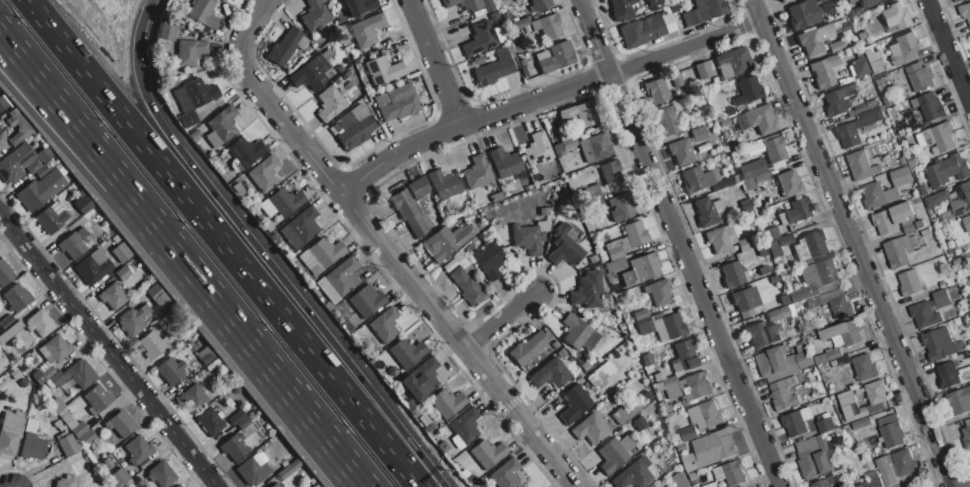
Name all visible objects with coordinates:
building: (513, 0)
building: (514, 0)
building: (957, 0)
building: (783, 1)
building: (821, 1)
building: (655, 2)
building: (836, 2)
building: (870, 3)
building: (464, 4)
building: (539, 5)
building: (359, 6)
building: (827, 8)
building: (622, 9)
building: (710, 9)
building: (225, 10)
building: (965, 12)
building: (204, 13)
building: (804, 14)
building: (314, 15)
building: (506, 17)
building: (895, 17)
building: (668, 18)
building: (691, 18)
building: (517, 25)
building: (547, 27)
building: (845, 27)
building: (526, 30)
building: (167, 31)
building: (366, 31)
building: (641, 31)
building: (498, 35)
building: (862, 36)
building: (515, 38)
building: (480, 40)
building: (814, 40)
building: (347, 42)
building: (836, 47)
building: (286, 48)
building: (903, 49)
building: (510, 52)
building: (190, 53)
road: (947, 53)
building: (326, 55)
building: (857, 55)
building: (555, 57)
building: (478, 60)
road: (435, 62)
building: (874, 62)
building: (733, 63)
building: (495, 68)
building: (859, 68)
building: (339, 69)
building: (383, 71)
building: (702, 71)
building: (825, 71)
building: (525, 72)
building: (310, 74)
building: (919, 76)
building: (344, 77)
building: (676, 80)
building: (337, 81)
building: (881, 84)
building: (849, 90)
building: (656, 91)
building: (747, 91)
building: (399, 92)
building: (199, 93)
road: (547, 95)
building: (887, 98)
building: (380, 100)
building: (854, 101)
road: (58, 103)
building: (835, 103)
building: (3, 104)
building: (329, 104)
building: (866, 106)
building: (931, 106)
building: (400, 108)
building: (723, 113)
building: (359, 115)
building: (580, 116)
building: (188, 119)
building: (761, 119)
building: (667, 121)
building: (19, 123)
road: (58, 123)
building: (222, 125)
building: (367, 125)
building: (859, 127)
building: (698, 135)
building: (194, 136)
building: (567, 136)
building: (350, 137)
building: (940, 137)
building: (1, 139)
building: (16, 139)
building: (690, 141)
building: (563, 145)
building: (702, 148)
building: (596, 149)
building: (755, 149)
building: (537, 150)
building: (774, 151)
building: (245, 152)
building: (681, 152)
building: (44, 155)
building: (902, 161)
building: (911, 161)
building: (505, 163)
building: (16, 164)
building: (860, 166)
building: (956, 166)
building: (33, 167)
building: (751, 170)
building: (41, 171)
building: (477, 173)
building: (262, 175)
building: (611, 175)
building: (714, 175)
building: (899, 176)
building: (760, 178)
building: (696, 179)
building: (722, 184)
building: (749, 184)
building: (789, 184)
building: (444, 185)
building: (397, 188)
building: (923, 188)
building: (239, 189)
building: (417, 189)
building: (40, 191)
building: (80, 194)
building: (891, 194)
building: (873, 195)
building: (495, 197)
building: (936, 198)
building: (961, 199)
building: (744, 202)
building: (281, 203)
building: (418, 203)
building: (83, 205)
building: (403, 205)
building: (623, 207)
building: (746, 210)
building: (707, 212)
building: (795, 212)
building: (903, 213)
building: (945, 216)
building: (466, 217)
building: (51, 218)
building: (884, 222)
building: (967, 223)
building: (418, 224)
building: (913, 226)
building: (300, 229)
building: (925, 231)
building: (634, 234)
building: (81, 235)
building: (771, 235)
building: (527, 239)
building: (720, 239)
road: (685, 241)
building: (446, 242)
road: (223, 243)
road: (853, 243)
building: (110, 244)
road: (386, 244)
building: (779, 244)
building: (814, 244)
building: (745, 245)
building: (72, 246)
building: (468, 248)
building: (564, 248)
building: (616, 249)
building: (949, 250)
building: (801, 251)
building: (898, 251)
building: (760, 252)
building: (121, 253)
road: (261, 254)
building: (320, 257)
building: (602, 257)
building: (97, 258)
building: (593, 259)
building: (488, 260)
building: (793, 260)
building: (956, 260)
building: (463, 263)
building: (615, 265)
building: (450, 266)
building: (645, 267)
building: (763, 271)
building: (90, 272)
building: (5, 274)
building: (123, 274)
building: (733, 274)
building: (819, 274)
building: (343, 277)
building: (608, 277)
building: (627, 278)
building: (774, 280)
building: (909, 282)
building: (466, 287)
building: (327, 290)
building: (614, 290)
building: (587, 291)
building: (658, 293)
building: (801, 293)
building: (112, 296)
building: (157, 296)
building: (17, 298)
building: (941, 298)
building: (742, 300)
building: (366, 301)
building: (812, 301)
building: (969, 304)
building: (770, 307)
building: (841, 307)
building: (746, 314)
building: (778, 314)
building: (639, 315)
building: (925, 315)
building: (131, 322)
building: (6, 323)
building: (40, 324)
building: (343, 324)
road: (500, 324)
building: (384, 326)
building: (669, 328)
building: (348, 330)
road: (240, 331)
building: (834, 331)
building: (10, 332)
building: (575, 332)
building: (852, 333)
building: (187, 335)
building: (762, 335)
building: (539, 340)
building: (592, 340)
building: (837, 340)
building: (830, 343)
building: (938, 343)
building: (152, 345)
building: (555, 345)
building: (174, 346)
building: (959, 346)
building: (800, 347)
building: (57, 348)
road: (108, 352)
building: (407, 353)
building: (522, 353)
building: (561, 354)
building: (833, 354)
building: (45, 355)
building: (616, 355)
building: (206, 356)
building: (684, 357)
building: (820, 358)
building: (844, 359)
building: (648, 361)
building: (782, 363)
building: (585, 366)
building: (864, 367)
building: (171, 371)
building: (651, 372)
building: (81, 374)
building: (947, 374)
building: (964, 374)
building: (550, 375)
building: (600, 375)
building: (59, 379)
building: (421, 379)
building: (790, 380)
building: (49, 383)
building: (687, 387)
building: (236, 391)
building: (876, 392)
building: (591, 395)
building: (782, 395)
building: (647, 396)
building: (193, 398)
building: (97, 400)
building: (959, 400)
building: (447, 404)
building: (575, 404)
building: (409, 405)
building: (56, 406)
building: (251, 406)
building: (857, 408)
building: (620, 411)
building: (414, 413)
building: (61, 414)
building: (710, 414)
building: (696, 417)
building: (65, 418)
building: (236, 418)
building: (423, 420)
building: (887, 420)
building: (969, 420)
building: (796, 421)
building: (12, 422)
building: (210, 423)
building: (825, 423)
building: (861, 423)
building: (57, 424)
building: (70, 424)
building: (120, 424)
building: (243, 424)
building: (640, 424)
building: (30, 426)
building: (465, 427)
building: (60, 428)
building: (79, 430)
building: (431, 430)
building: (590, 430)
building: (663, 430)
building: (689, 434)
building: (892, 434)
building: (967, 434)
building: (61, 436)
building: (87, 438)
building: (881, 439)
building: (456, 442)
building: (626, 443)
building: (7, 444)
building: (68, 445)
building: (32, 447)
building: (443, 447)
building: (682, 447)
building: (234, 448)
building: (712, 448)
building: (137, 450)
building: (487, 454)
building: (611, 456)
building: (450, 457)
building: (813, 457)
building: (259, 459)
building: (144, 463)
building: (78, 464)
building: (283, 464)
building: (905, 466)
building: (288, 469)
building: (837, 470)
building: (652, 471)
building: (888, 471)
building: (253, 472)
building: (464, 473)
building: (733, 473)
building: (161, 474)
building: (505, 474)
building: (633, 476)
building: (693, 476)
building: (119, 477)
building: (470, 479)
building: (680, 480)
building: (871, 480)
building: (834, 481)
building: (65, 483)
building: (139, 483)
building: (821, 483)
building: (712, 484)
building: (660, 485)
building: (178, 486)
building: (275, 486)
building: (315, 486)
building: (652, 486)

